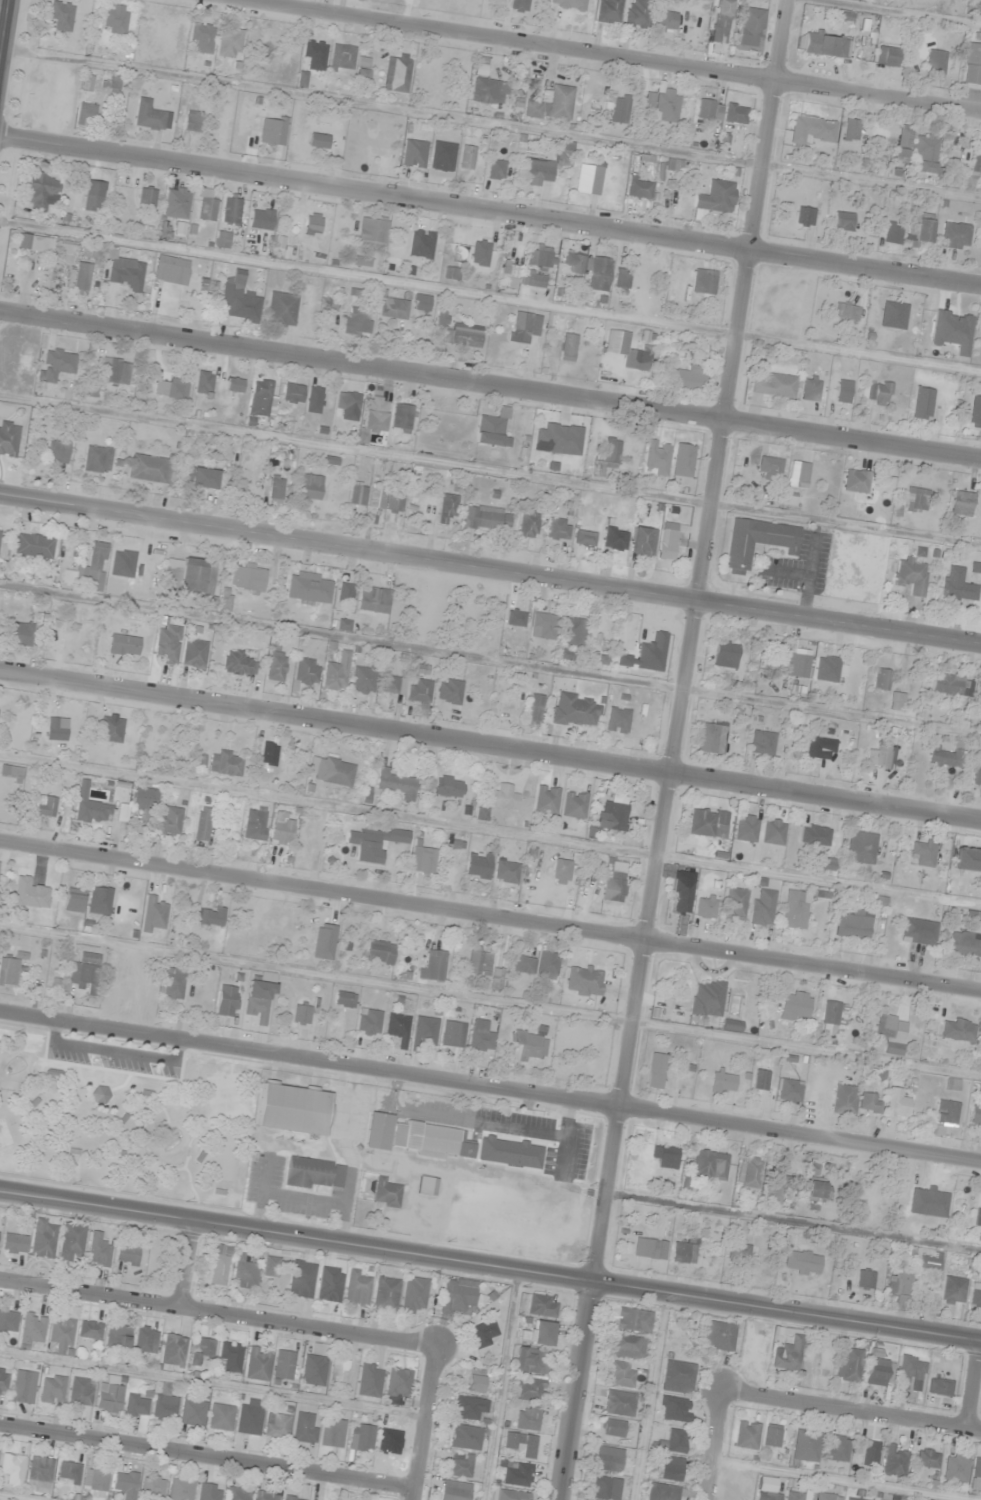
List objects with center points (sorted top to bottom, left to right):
road: (0, 1)
building: (567, 4)
building: (973, 5)
building: (518, 6)
building: (607, 11)
building: (636, 14)
building: (61, 17)
building: (114, 20)
building: (664, 21)
building: (720, 22)
building: (750, 29)
building: (201, 37)
building: (229, 43)
building: (824, 44)
road: (603, 54)
building: (314, 55)
building: (885, 56)
building: (341, 59)
building: (934, 62)
building: (971, 65)
building: (479, 70)
building: (396, 73)
building: (362, 76)
building: (87, 83)
building: (596, 90)
building: (487, 91)
building: (663, 102)
building: (551, 104)
building: (619, 108)
building: (708, 109)
building: (86, 114)
building: (735, 114)
building: (150, 116)
building: (192, 121)
building: (272, 130)
building: (810, 130)
building: (850, 130)
building: (369, 137)
building: (318, 141)
building: (902, 147)
building: (924, 150)
building: (564, 152)
building: (413, 154)
building: (466, 158)
building: (673, 165)
building: (974, 168)
building: (495, 170)
building: (538, 171)
building: (588, 177)
building: (639, 189)
building: (41, 190)
building: (93, 196)
building: (146, 196)
building: (716, 197)
building: (176, 203)
building: (205, 206)
building: (231, 209)
road: (490, 213)
building: (803, 216)
building: (261, 219)
building: (842, 221)
building: (315, 225)
building: (918, 228)
building: (371, 232)
building: (891, 232)
building: (953, 236)
building: (222, 239)
building: (34, 243)
building: (420, 246)
building: (65, 252)
building: (482, 257)
building: (540, 257)
building: (576, 263)
building: (169, 267)
building: (125, 273)
building: (451, 273)
building: (598, 274)
building: (78, 279)
building: (621, 279)
building: (532, 281)
building: (703, 282)
building: (238, 300)
building: (421, 303)
building: (393, 308)
building: (281, 310)
building: (846, 312)
building: (892, 315)
building: (357, 322)
building: (523, 327)
building: (951, 330)
building: (461, 337)
building: (567, 347)
building: (629, 359)
building: (57, 364)
building: (116, 371)
building: (688, 379)
building: (203, 383)
building: (234, 385)
road: (490, 386)
building: (774, 386)
building: (166, 387)
building: (809, 388)
building: (842, 391)
building: (875, 392)
building: (292, 393)
building: (261, 399)
building: (314, 400)
building: (920, 403)
building: (347, 406)
building: (974, 412)
building: (374, 414)
building: (401, 418)
building: (492, 429)
building: (361, 438)
building: (8, 439)
building: (557, 440)
building: (57, 452)
building: (606, 457)
building: (656, 457)
building: (97, 459)
building: (682, 460)
building: (151, 469)
building: (769, 469)
building: (797, 474)
building: (200, 478)
building: (855, 481)
building: (308, 487)
building: (275, 489)
building: (357, 494)
building: (376, 498)
building: (914, 500)
building: (394, 502)
building: (960, 504)
building: (446, 508)
building: (486, 518)
building: (528, 525)
building: (557, 529)
building: (0, 538)
building: (596, 540)
building: (667, 540)
building: (642, 541)
building: (756, 542)
building: (35, 546)
building: (92, 569)
road: (490, 571)
building: (189, 576)
building: (910, 576)
building: (247, 578)
building: (956, 587)
building: (308, 589)
building: (346, 592)
building: (373, 600)
building: (343, 626)
building: (543, 626)
building: (515, 631)
building: (573, 632)
building: (21, 634)
road: (691, 641)
building: (167, 643)
building: (123, 645)
building: (194, 654)
building: (725, 654)
building: (794, 662)
building: (239, 664)
building: (276, 665)
building: (826, 669)
building: (306, 671)
building: (336, 673)
building: (361, 680)
building: (880, 680)
building: (392, 685)
building: (950, 685)
building: (419, 691)
building: (448, 691)
building: (895, 701)
building: (534, 708)
building: (575, 711)
building: (617, 720)
building: (56, 729)
building: (110, 730)
building: (711, 738)
building: (761, 742)
road: (490, 748)
building: (819, 748)
building: (878, 757)
building: (944, 757)
building: (271, 761)
building: (10, 771)
building: (332, 771)
building: (976, 777)
building: (394, 784)
building: (448, 786)
building: (142, 798)
building: (502, 798)
building: (545, 801)
building: (574, 805)
building: (45, 806)
building: (89, 807)
building: (612, 814)
building: (169, 821)
building: (254, 823)
building: (707, 823)
building: (202, 824)
building: (282, 828)
building: (745, 828)
building: (772, 832)
building: (813, 835)
building: (371, 843)
building: (860, 847)
building: (921, 853)
building: (421, 859)
building: (967, 860)
building: (826, 863)
building: (478, 866)
building: (560, 871)
building: (506, 872)
building: (614, 883)
building: (980, 886)
building: (17, 889)
building: (41, 893)
building: (681, 896)
building: (73, 900)
building: (99, 901)
building: (734, 902)
building: (761, 907)
building: (705, 908)
building: (794, 909)
building: (153, 915)
building: (208, 915)
road: (490, 915)
building: (853, 925)
building: (917, 932)
building: (323, 942)
building: (964, 944)
building: (379, 951)
building: (479, 961)
building: (522, 964)
building: (14, 965)
building: (547, 965)
building: (432, 966)
building: (82, 974)
building: (496, 979)
building: (583, 981)
building: (172, 982)
building: (344, 999)
building: (707, 999)
building: (226, 1001)
building: (258, 1002)
building: (795, 1004)
building: (833, 1013)
building: (301, 1015)
building: (368, 1022)
building: (731, 1025)
building: (397, 1029)
building: (956, 1029)
building: (424, 1031)
building: (452, 1034)
building: (886, 1034)
building: (480, 1038)
building: (530, 1046)
building: (655, 1071)
building: (759, 1079)
building: (722, 1081)
road: (490, 1088)
building: (788, 1091)
building: (100, 1095)
building: (843, 1099)
building: (896, 1100)
building: (869, 1103)
building: (292, 1109)
building: (946, 1112)
building: (975, 1115)
building: (378, 1131)
building: (430, 1141)
building: (665, 1156)
building: (709, 1165)
building: (750, 1172)
building: (314, 1173)
building: (426, 1186)
building: (816, 1191)
building: (386, 1193)
building: (771, 1194)
building: (928, 1201)
building: (980, 1215)
road: (295, 1237)
building: (43, 1238)
building: (71, 1242)
building: (13, 1243)
building: (649, 1248)
building: (97, 1250)
building: (738, 1252)
building: (683, 1253)
building: (126, 1255)
building: (801, 1262)
building: (929, 1263)
road: (187, 1264)
building: (219, 1265)
building: (272, 1266)
building: (244, 1274)
building: (301, 1279)
building: (864, 1279)
building: (898, 1282)
building: (357, 1288)
building: (953, 1290)
building: (385, 1294)
building: (414, 1295)
building: (975, 1295)
building: (457, 1298)
building: (542, 1306)
road: (219, 1312)
road: (786, 1314)
building: (8, 1320)
building: (633, 1320)
building: (32, 1329)
building: (89, 1330)
building: (483, 1333)
building: (542, 1333)
building: (61, 1335)
building: (718, 1336)
building: (117, 1338)
building: (145, 1339)
building: (628, 1347)
building: (199, 1349)
building: (172, 1350)
building: (787, 1354)
building: (229, 1356)
building: (529, 1361)
building: (257, 1363)
building: (283, 1364)
building: (849, 1365)
building: (313, 1370)
building: (339, 1370)
building: (876, 1372)
building: (910, 1373)
building: (621, 1375)
building: (677, 1377)
building: (369, 1380)
building: (474, 1380)
building: (3, 1381)
building: (398, 1383)
building: (939, 1386)
building: (23, 1387)
building: (52, 1389)
building: (528, 1389)
road: (577, 1391)
building: (80, 1392)
building: (109, 1394)
road: (977, 1398)
building: (164, 1402)
building: (620, 1403)
building: (136, 1405)
building: (469, 1409)
building: (673, 1409)
road: (853, 1412)
building: (192, 1413)
building: (249, 1416)
building: (220, 1417)
building: (527, 1418)
road: (426, 1423)
building: (276, 1426)
building: (304, 1428)
building: (612, 1428)
building: (331, 1433)
building: (746, 1434)
building: (771, 1435)
building: (465, 1437)
building: (361, 1438)
building: (673, 1442)
building: (805, 1446)
road: (716, 1448)
building: (836, 1448)
building: (869, 1453)
building: (927, 1458)
road: (207, 1460)
building: (608, 1460)
building: (894, 1462)
building: (459, 1466)
building: (955, 1467)
building: (12, 1468)
building: (976, 1468)
building: (671, 1469)
building: (39, 1471)
building: (67, 1473)
building: (516, 1474)
building: (94, 1480)
building: (125, 1484)
building: (152, 1487)
building: (605, 1488)
building: (180, 1489)
building: (767, 1489)
building: (454, 1491)
building: (667, 1492)
building: (236, 1494)
building: (510, 1495)
building: (796, 1495)
building: (264, 1496)
building: (826, 1497)
building: (290, 1498)
building: (851, 1499)

